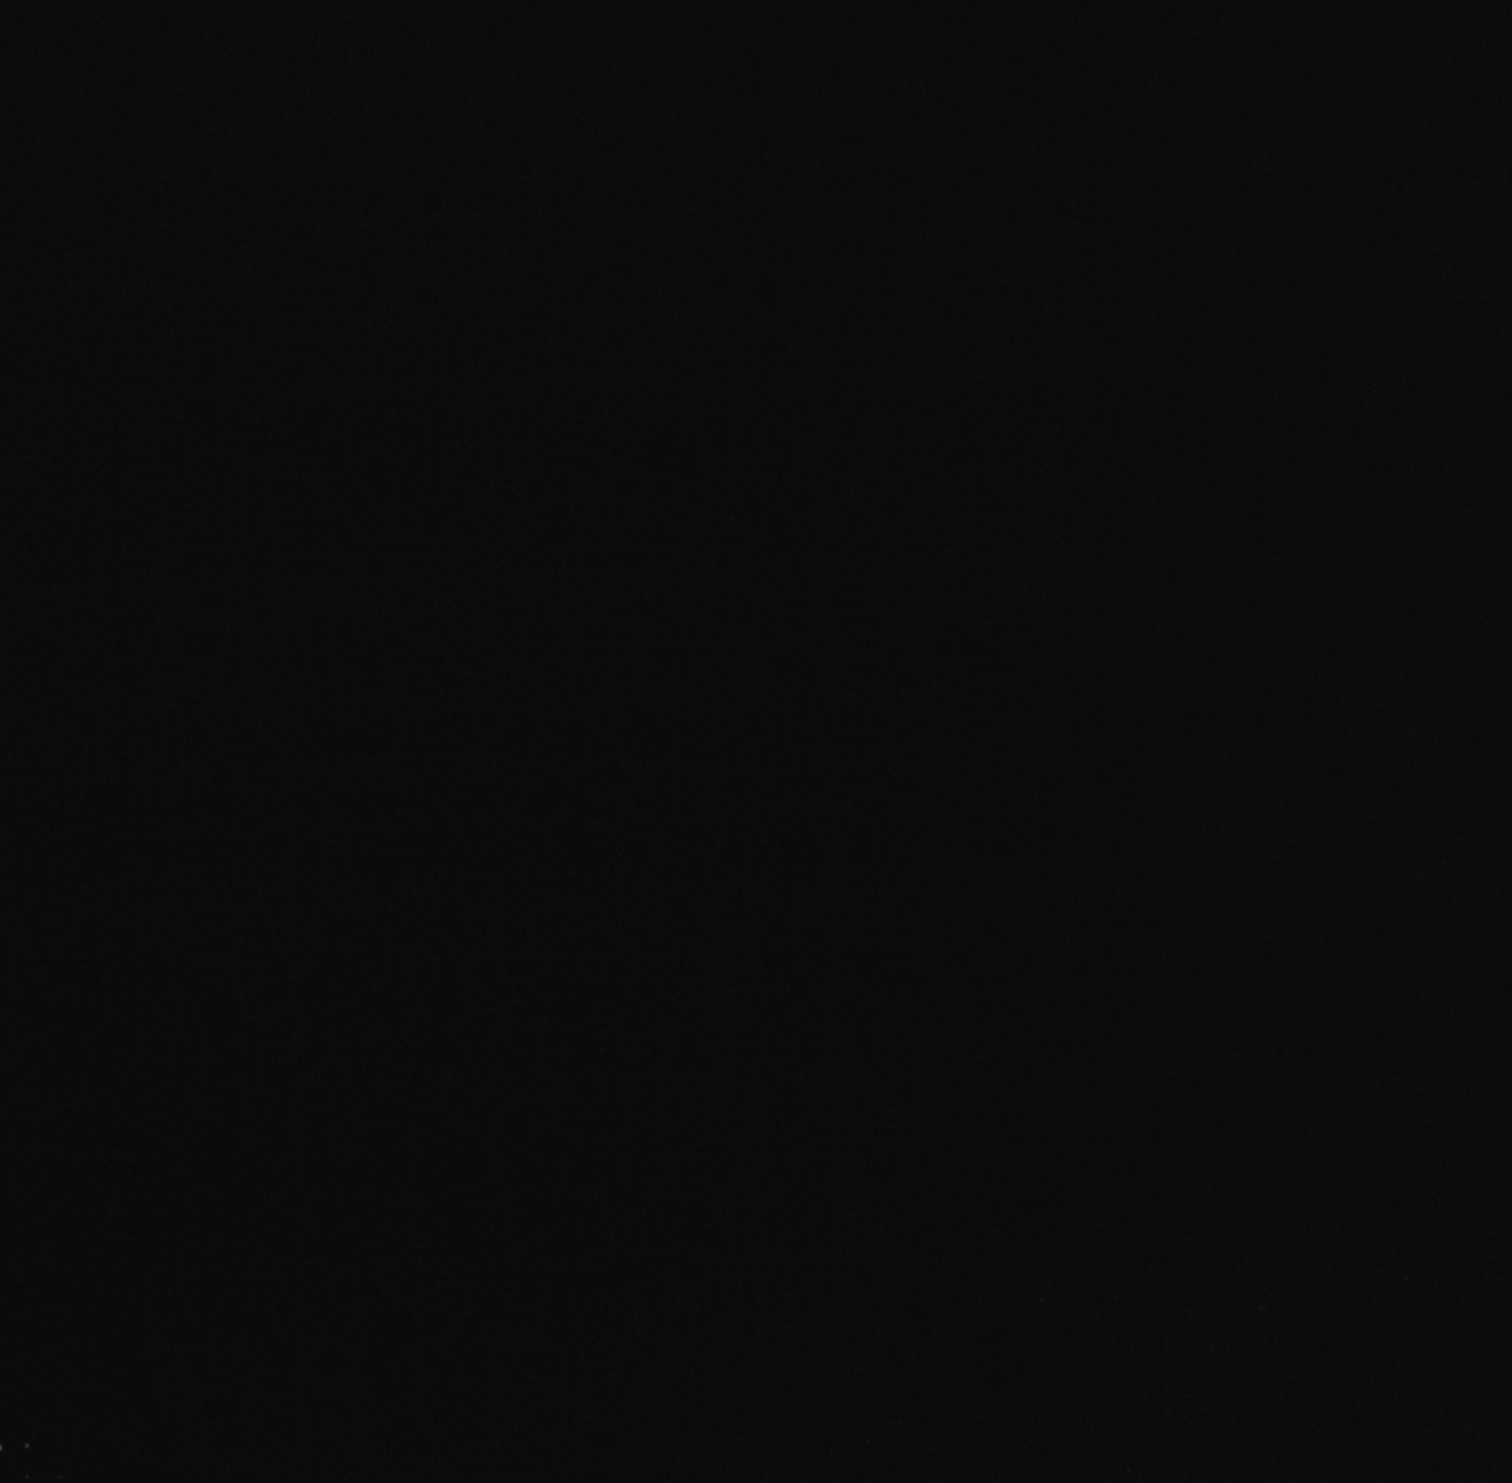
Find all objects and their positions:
river: (1491, 1478)

